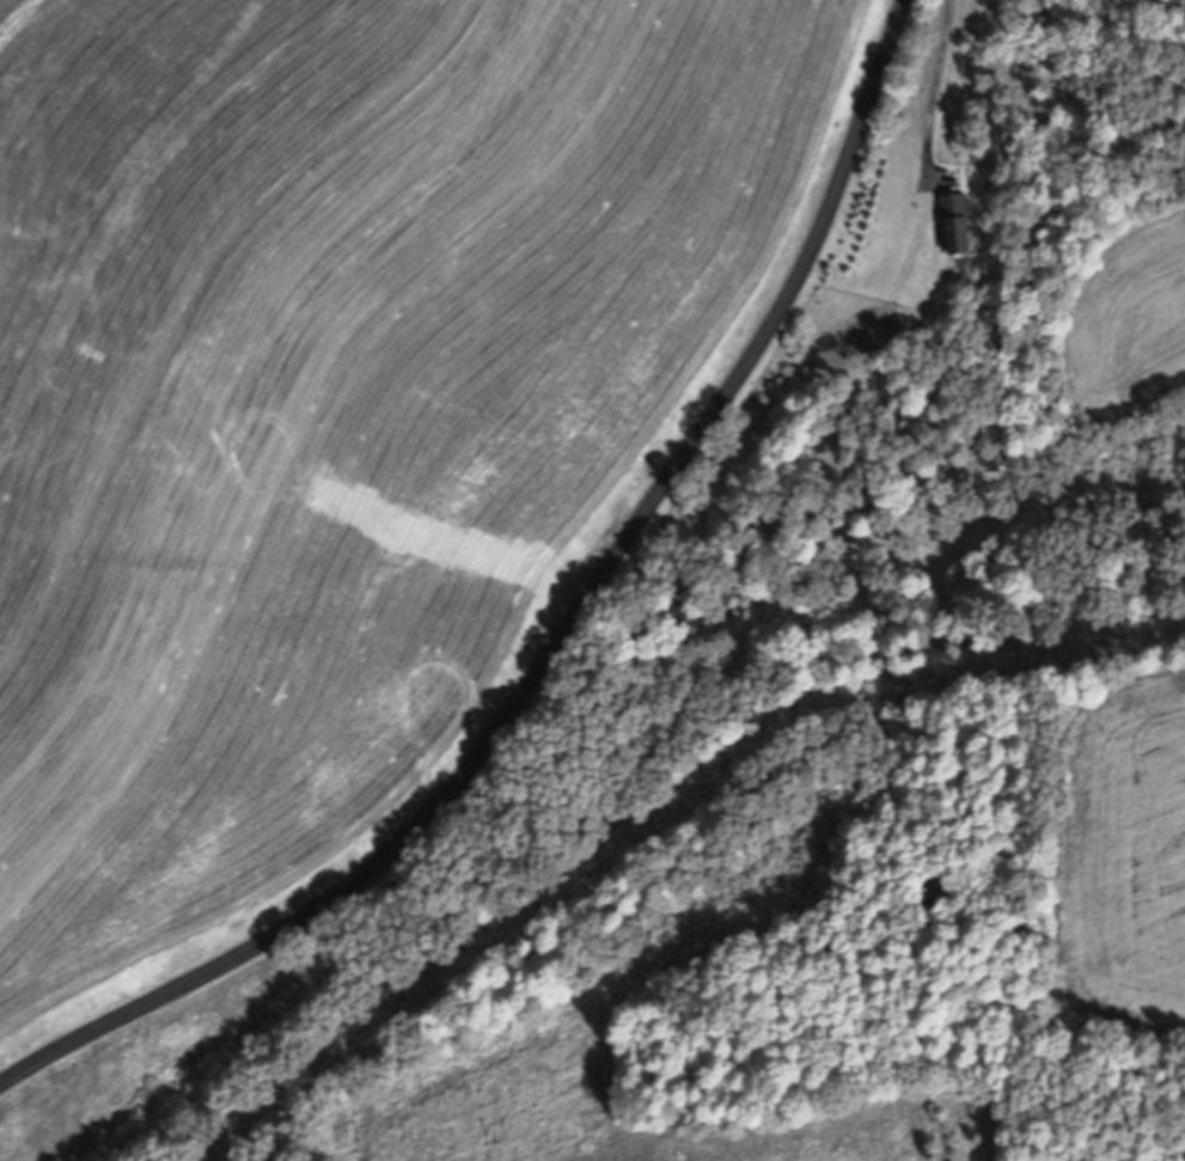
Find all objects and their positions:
building: (955, 226)
road: (560, 637)

